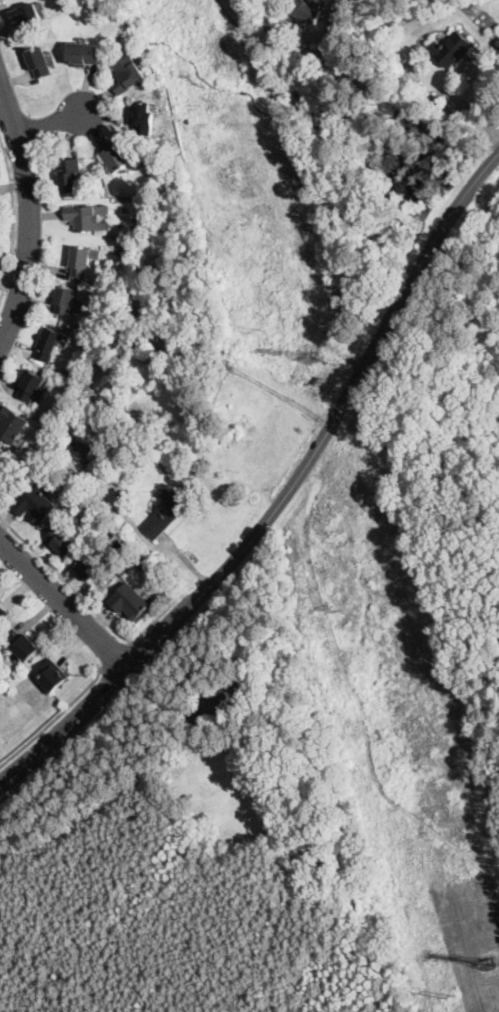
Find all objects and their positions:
building: (308, 10)
building: (26, 15)
building: (453, 49)
building: (82, 54)
building: (40, 62)
building: (128, 74)
road: (465, 106)
building: (142, 118)
road: (50, 123)
building: (119, 156)
building: (70, 175)
building: (127, 208)
road: (33, 217)
building: (83, 217)
road: (13, 218)
building: (120, 251)
building: (80, 262)
building: (67, 301)
building: (81, 327)
power tower: (259, 328)
building: (114, 340)
building: (49, 344)
building: (152, 351)
building: (175, 357)
power tower: (312, 359)
building: (74, 371)
building: (32, 385)
building: (11, 424)
building: (56, 424)
building: (152, 428)
building: (77, 448)
building: (1, 462)
building: (0, 465)
road: (284, 497)
building: (36, 504)
building: (168, 510)
building: (63, 541)
building: (141, 563)
building: (89, 568)
road: (85, 600)
building: (130, 601)
road: (64, 603)
power tower: (339, 605)
building: (3, 612)
building: (21, 644)
road: (117, 657)
building: (52, 675)
building: (224, 701)
road: (53, 718)
power tower: (488, 962)
power tower: (451, 996)

